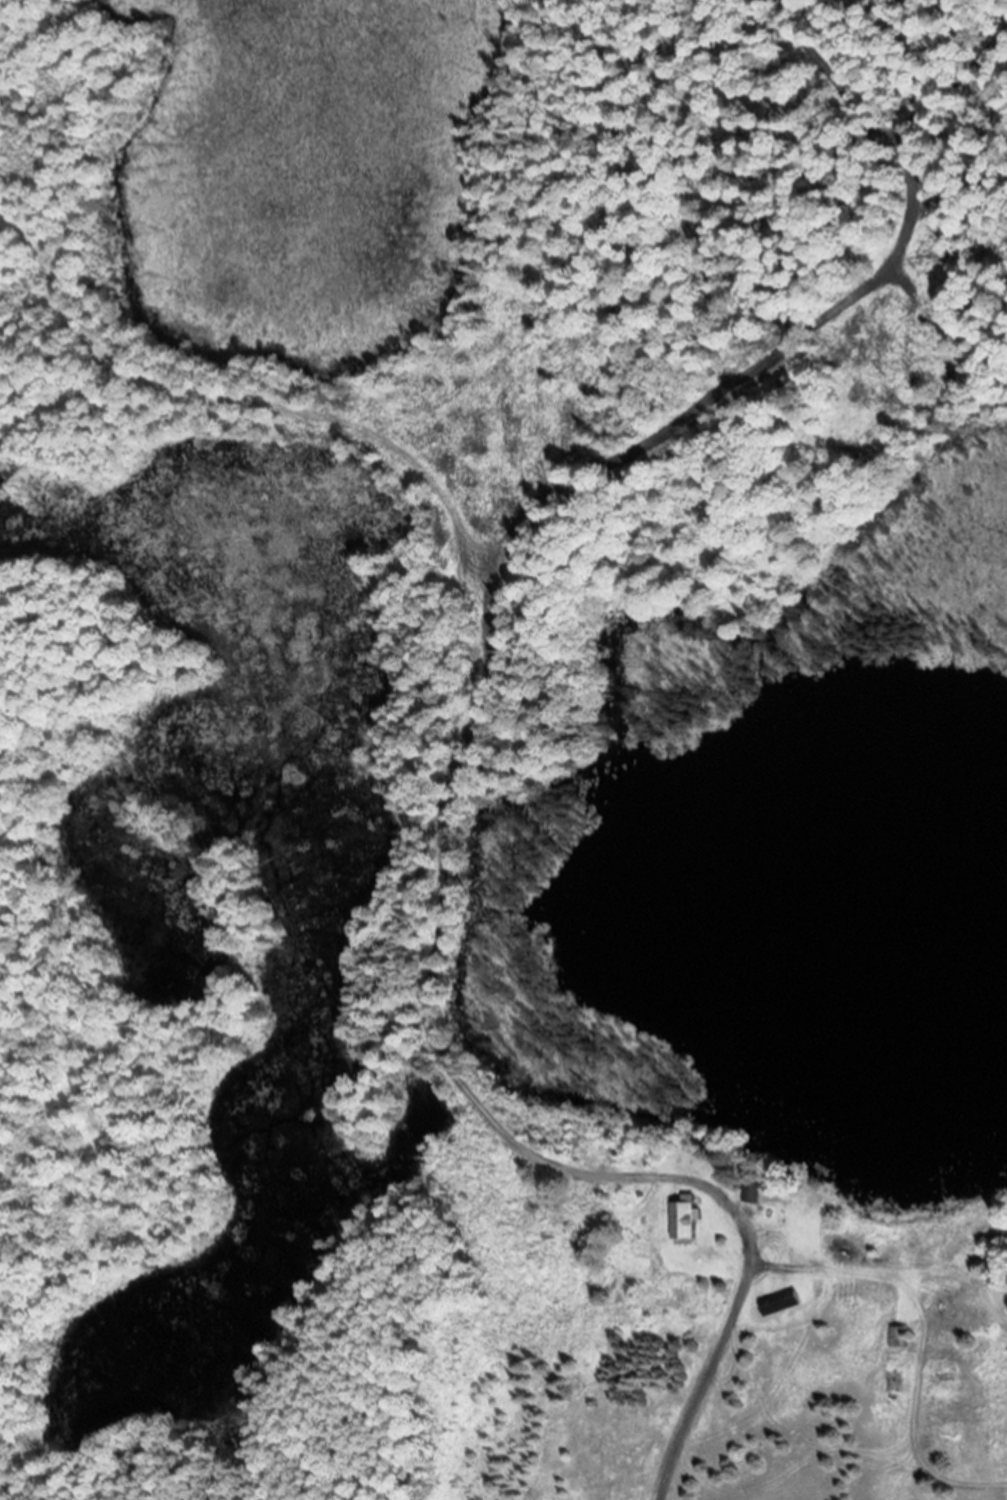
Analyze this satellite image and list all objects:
building: (756, 1192)
building: (689, 1220)
building: (783, 1302)
building: (947, 1319)
building: (900, 1336)
road: (696, 1398)

